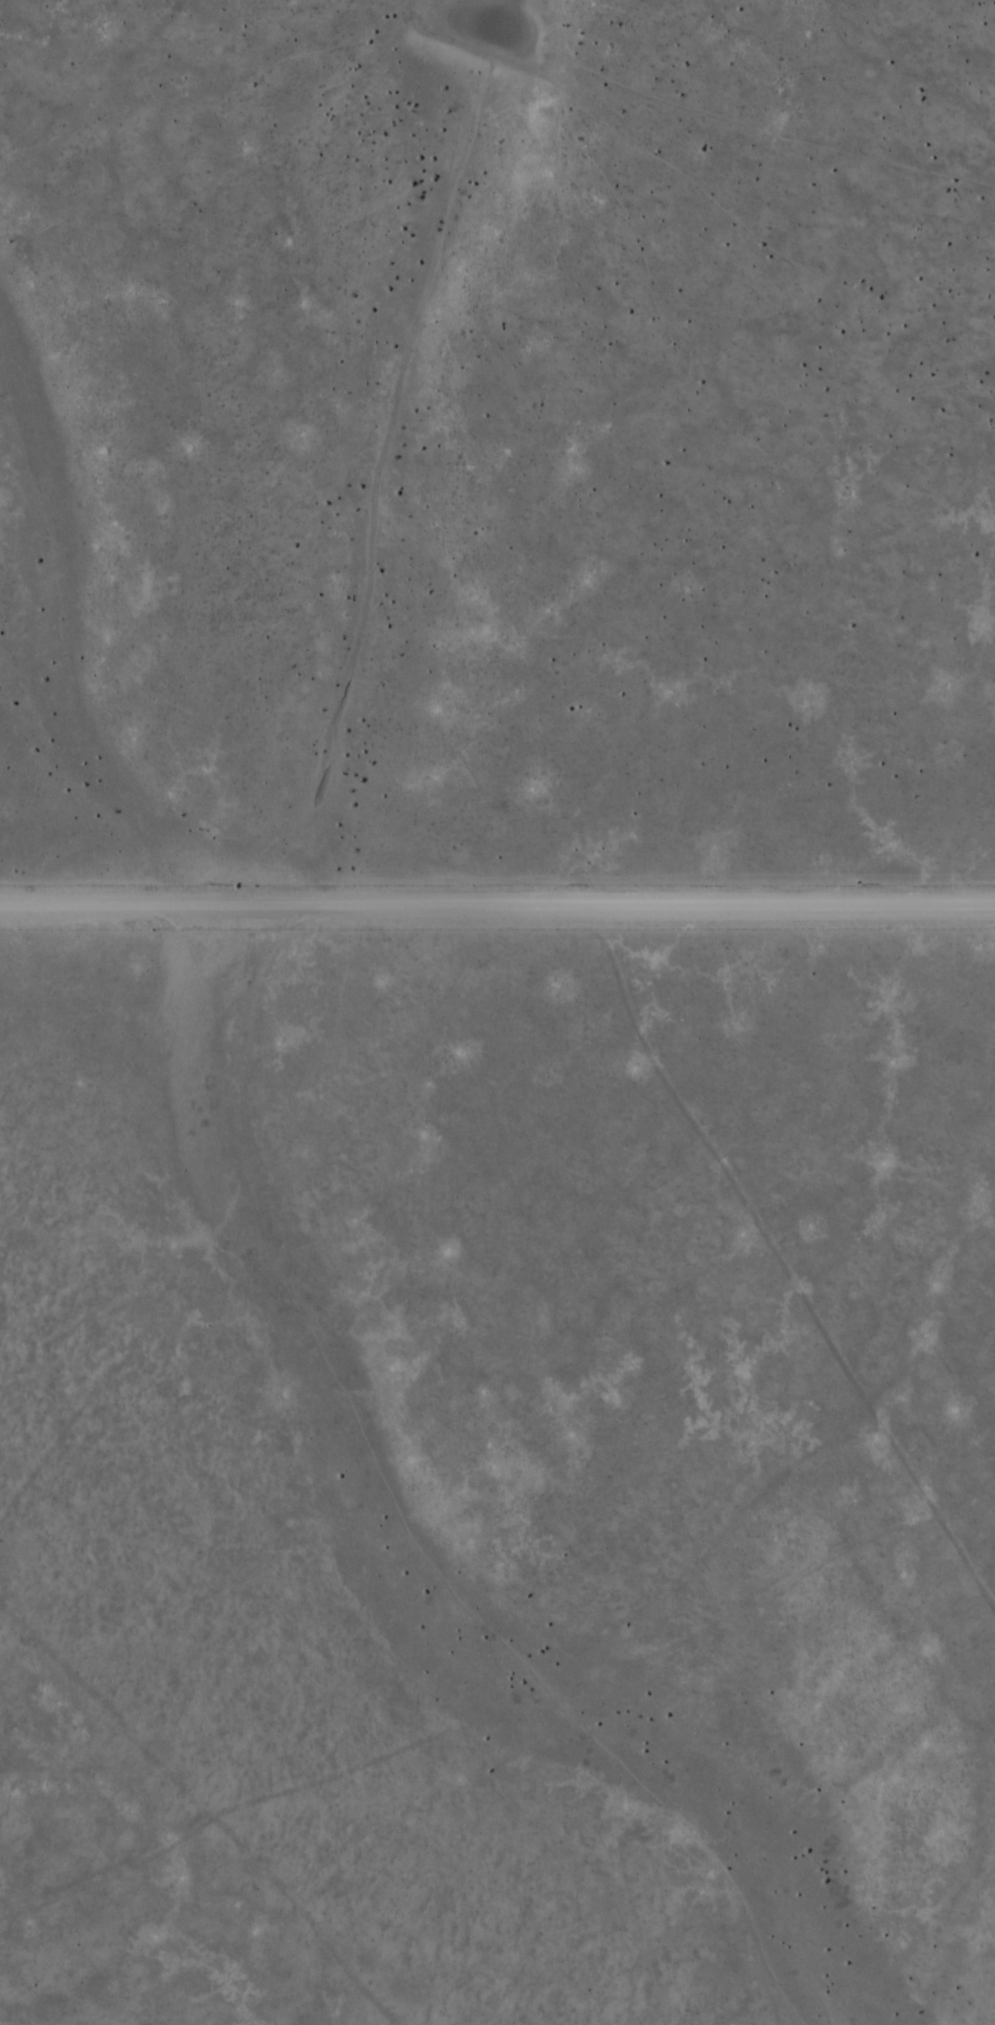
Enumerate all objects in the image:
road: (497, 913)

